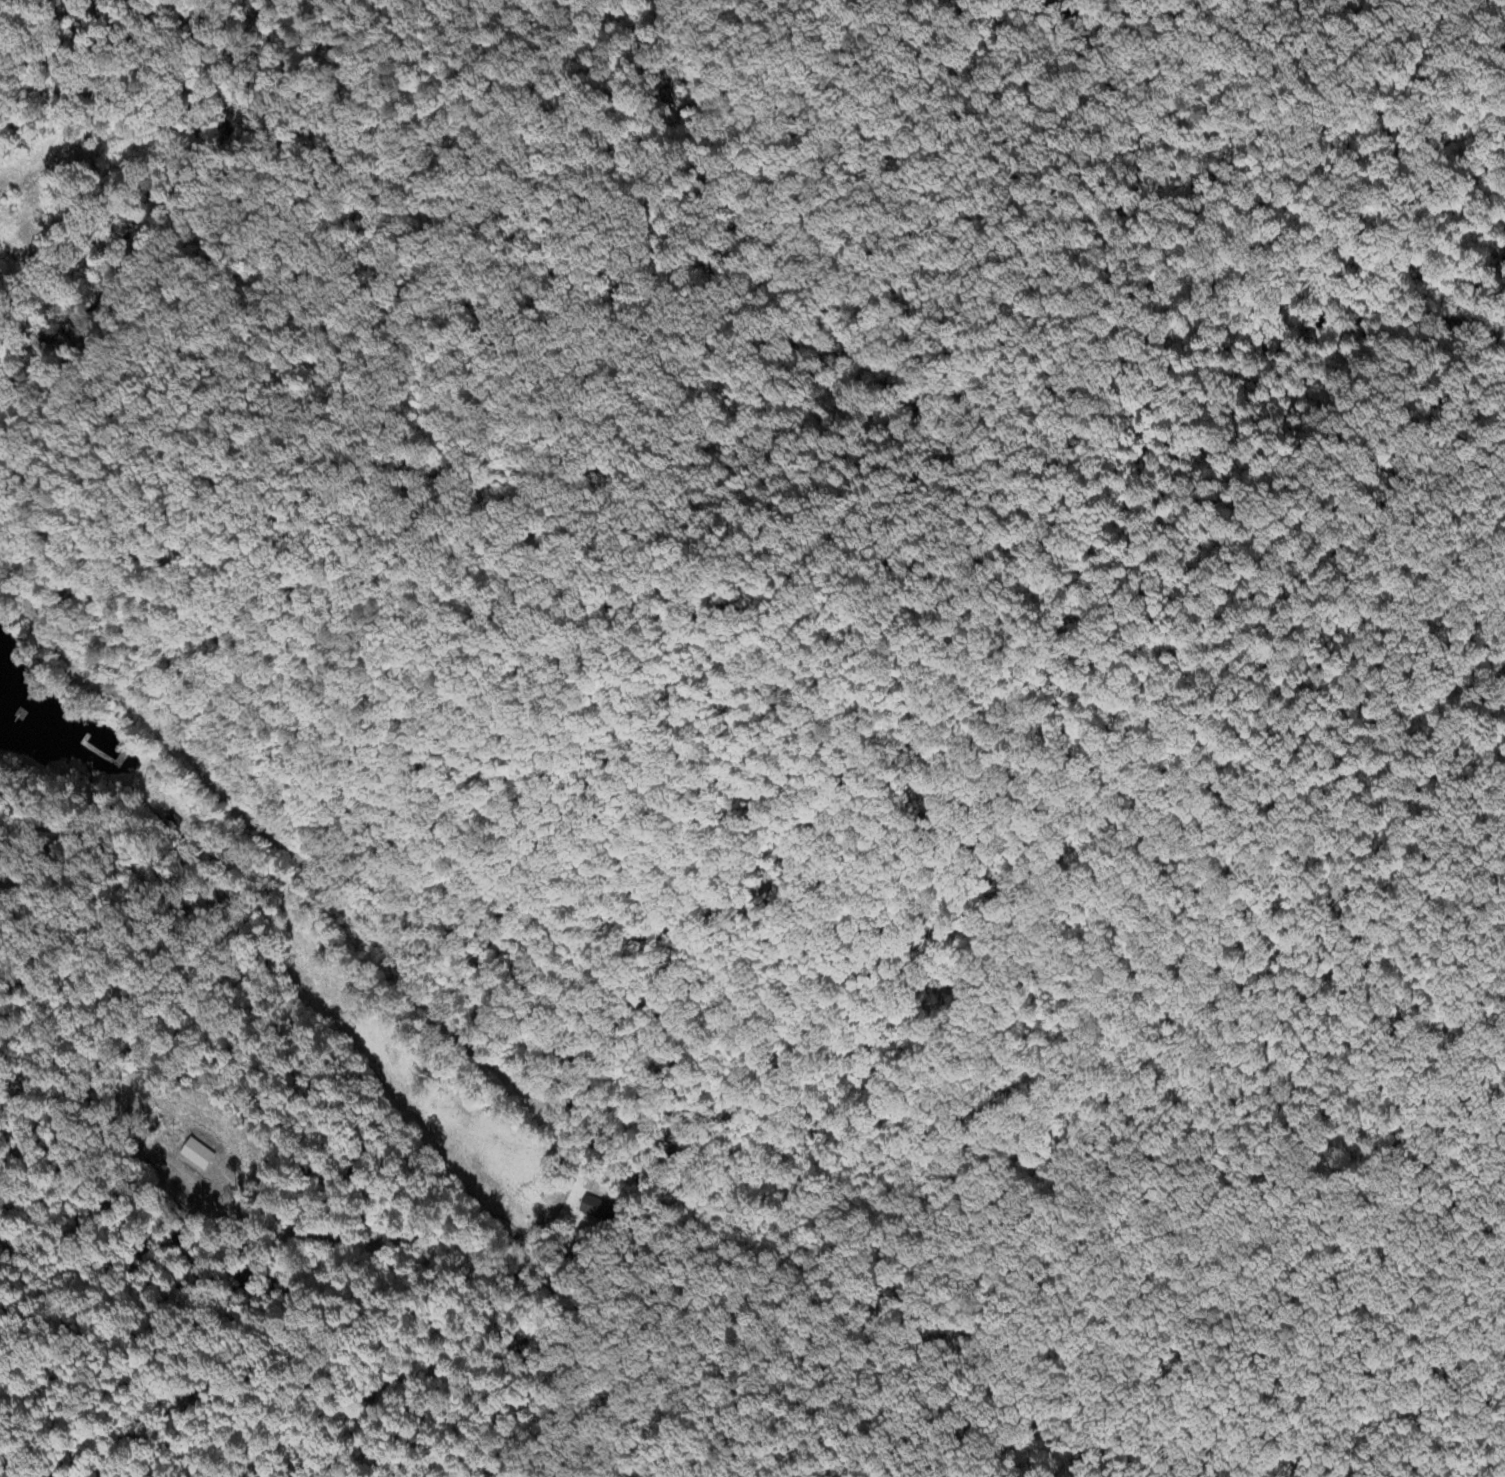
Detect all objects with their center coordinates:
building: (6, 849)
road: (296, 861)
building: (196, 1156)
building: (591, 1208)
road: (262, 1227)

